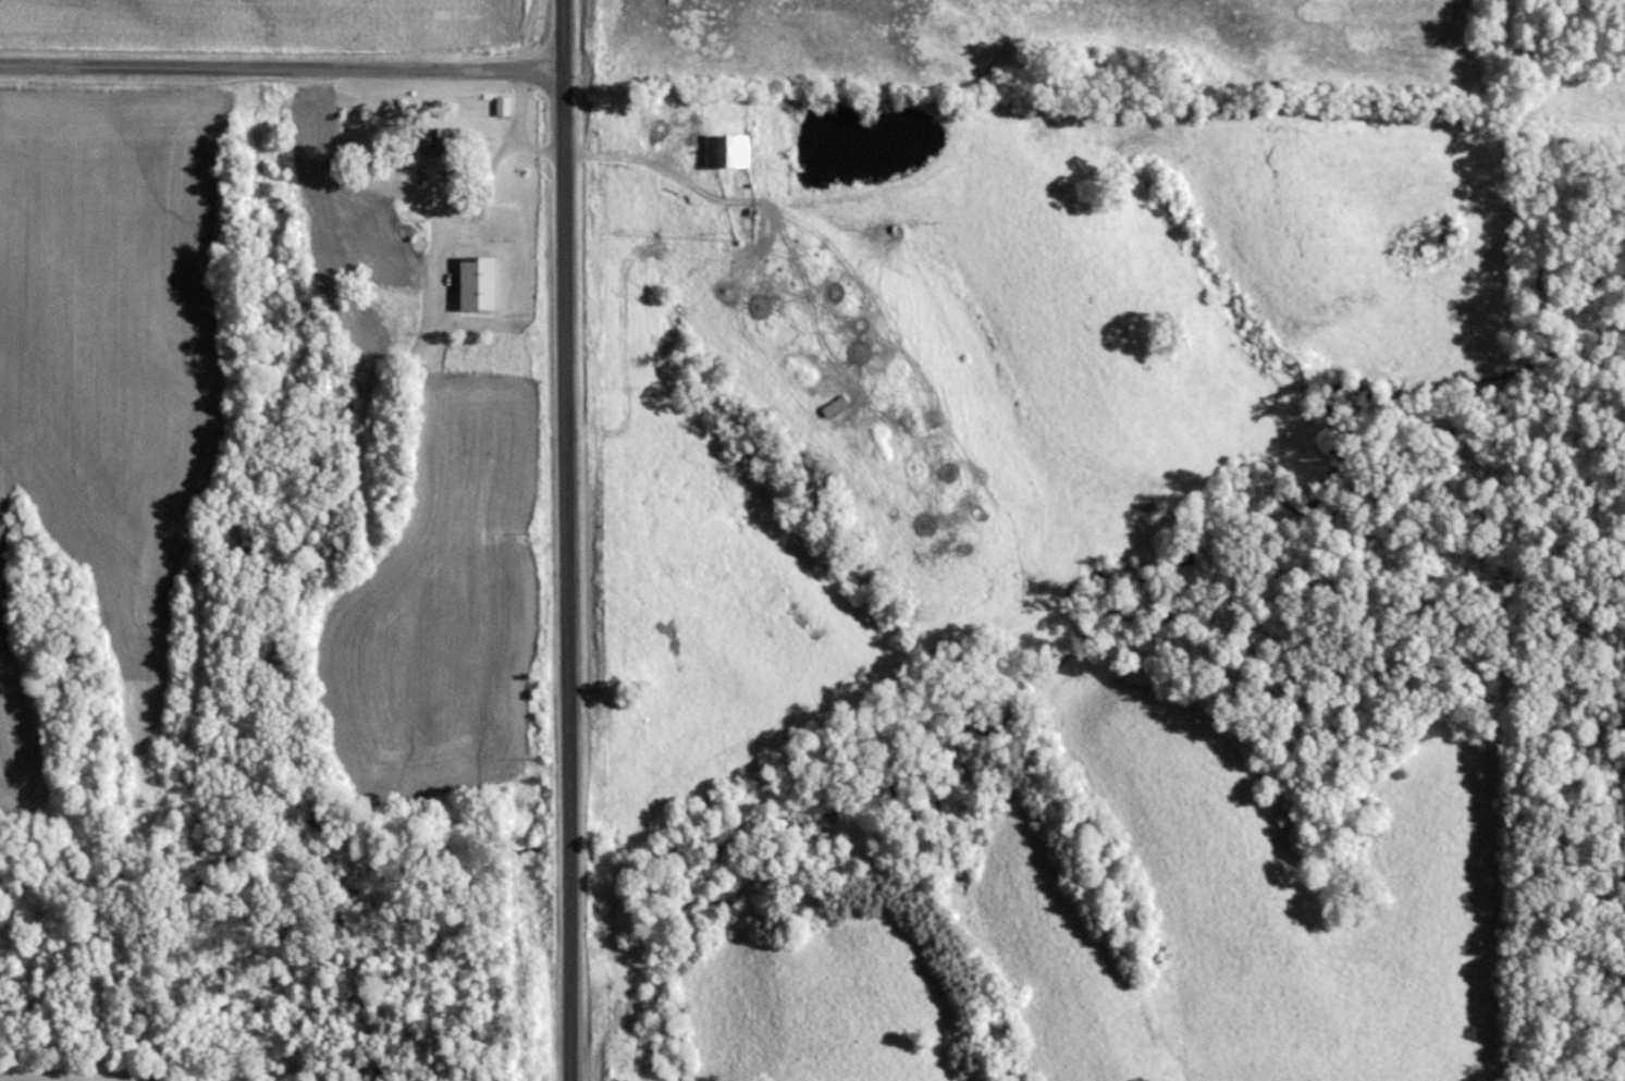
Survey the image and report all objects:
road: (283, 67)
building: (441, 138)
building: (725, 149)
building: (476, 282)
road: (569, 540)

